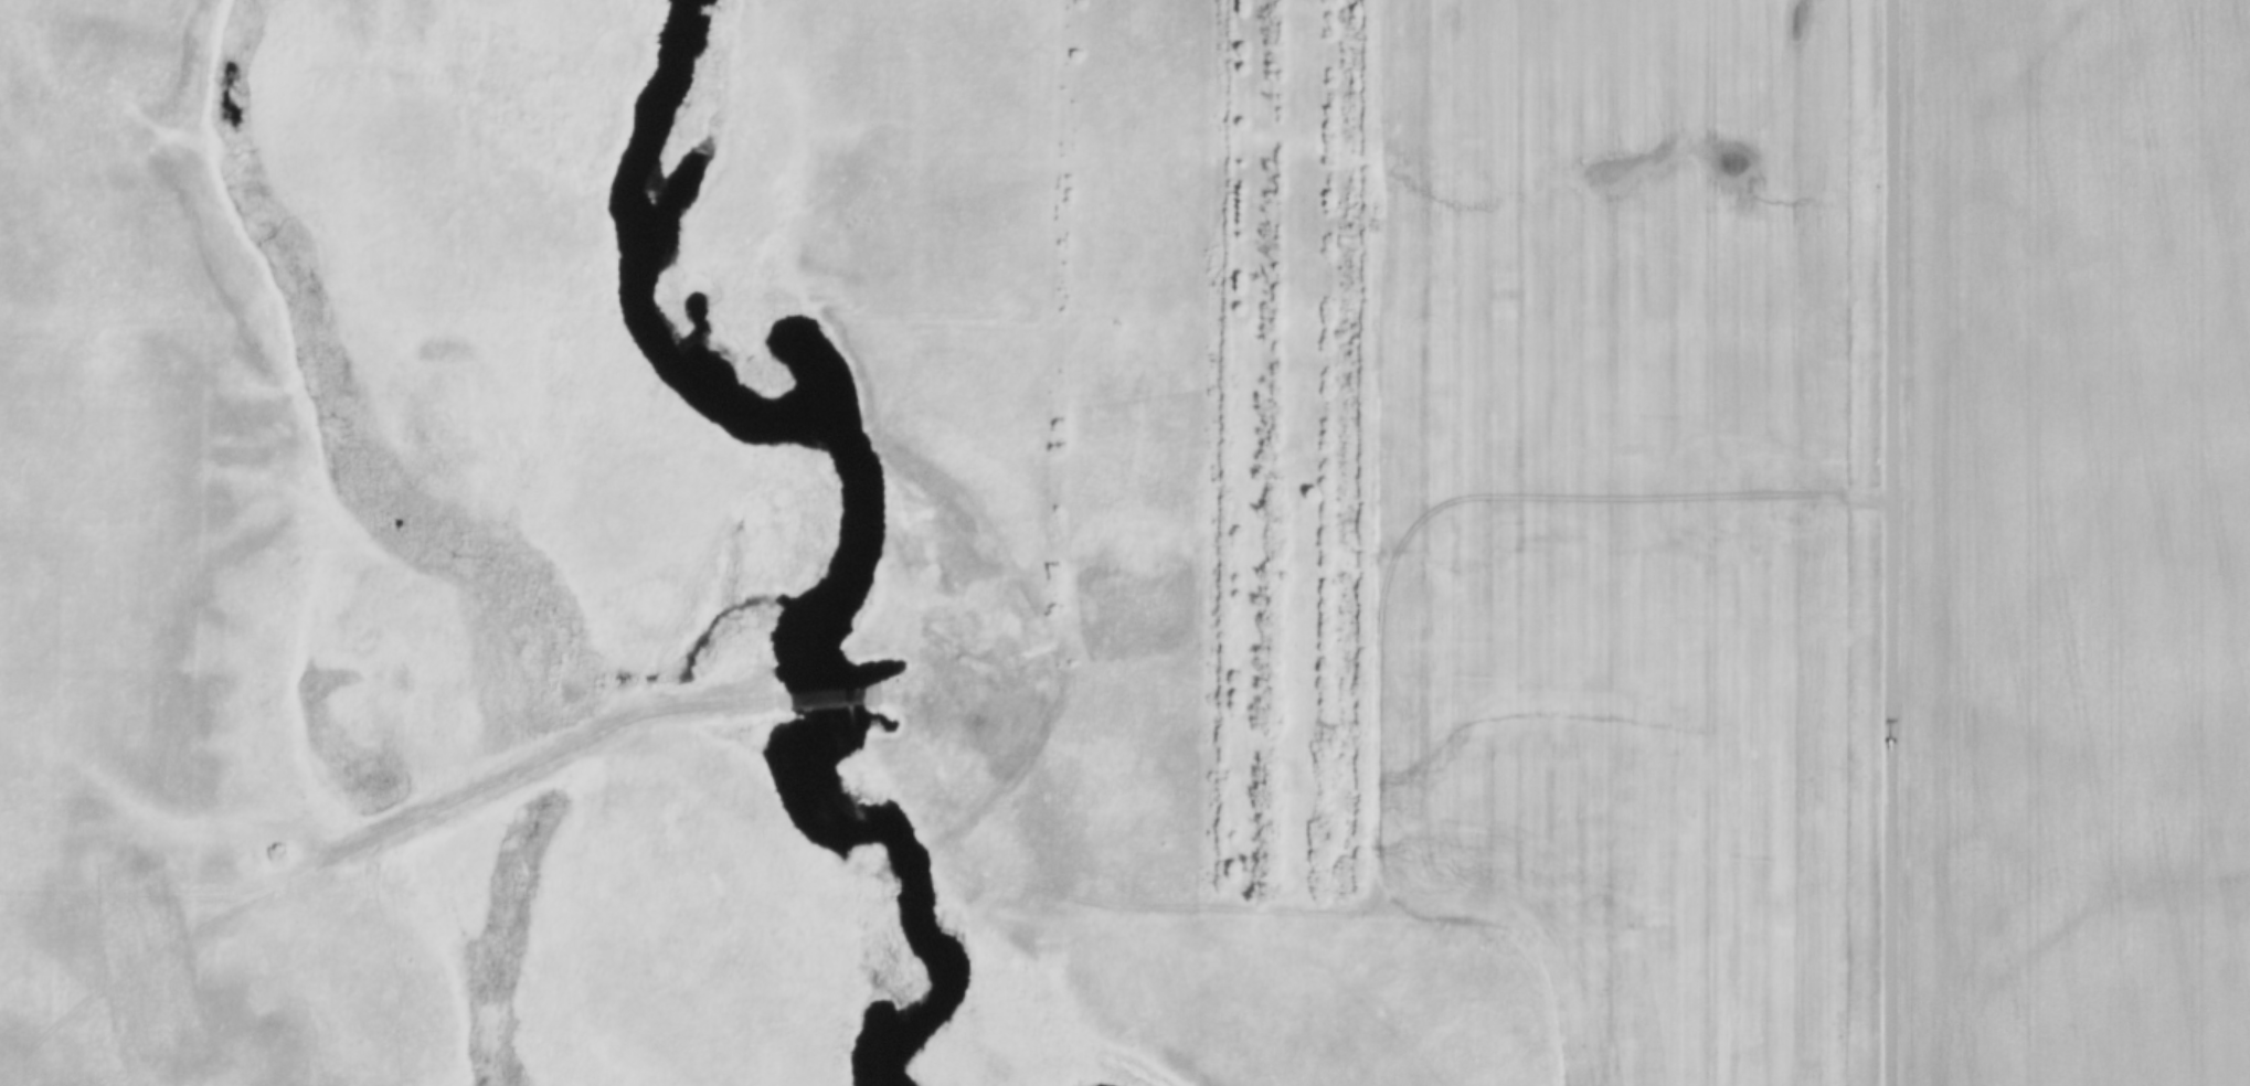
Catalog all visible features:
road: (1895, 542)

